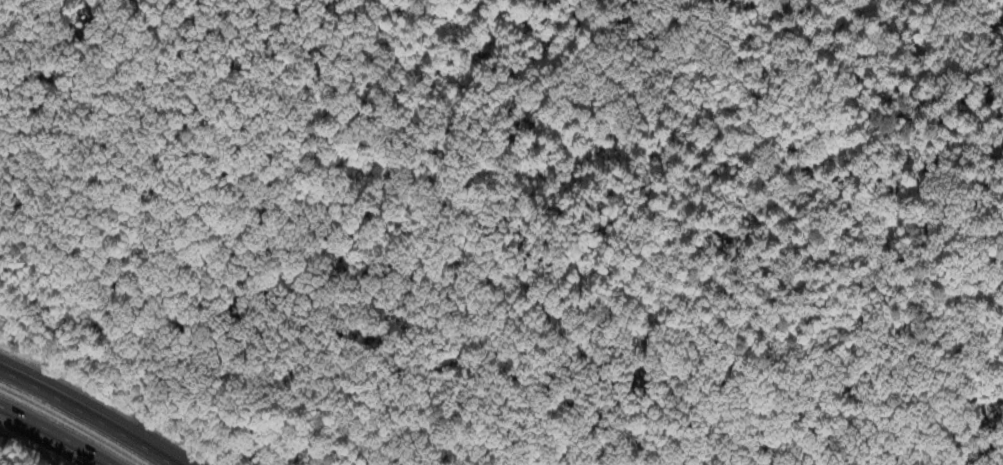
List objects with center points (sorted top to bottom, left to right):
road: (87, 418)
road: (56, 432)

